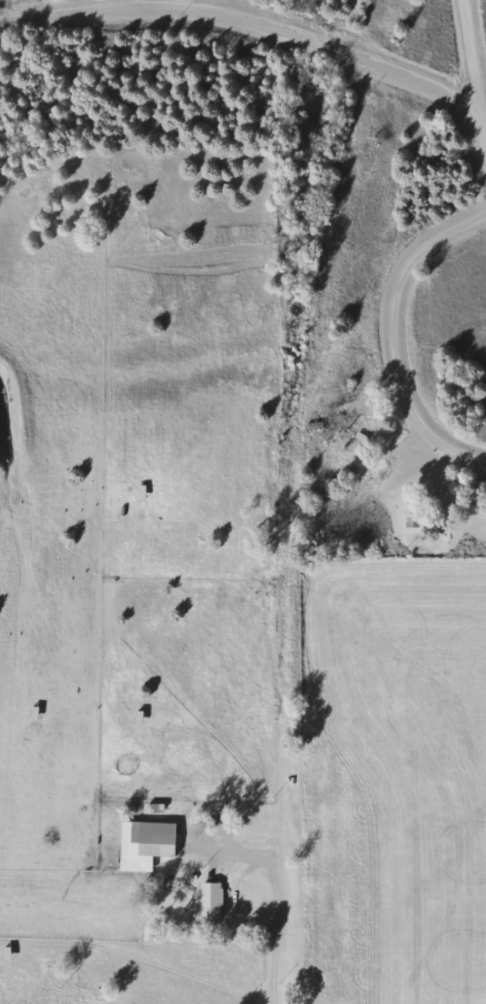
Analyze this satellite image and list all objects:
road: (186, 3)
road: (261, 20)
road: (474, 51)
road: (395, 338)
road: (437, 482)
building: (414, 521)
building: (160, 839)
road: (280, 889)
building: (210, 903)

